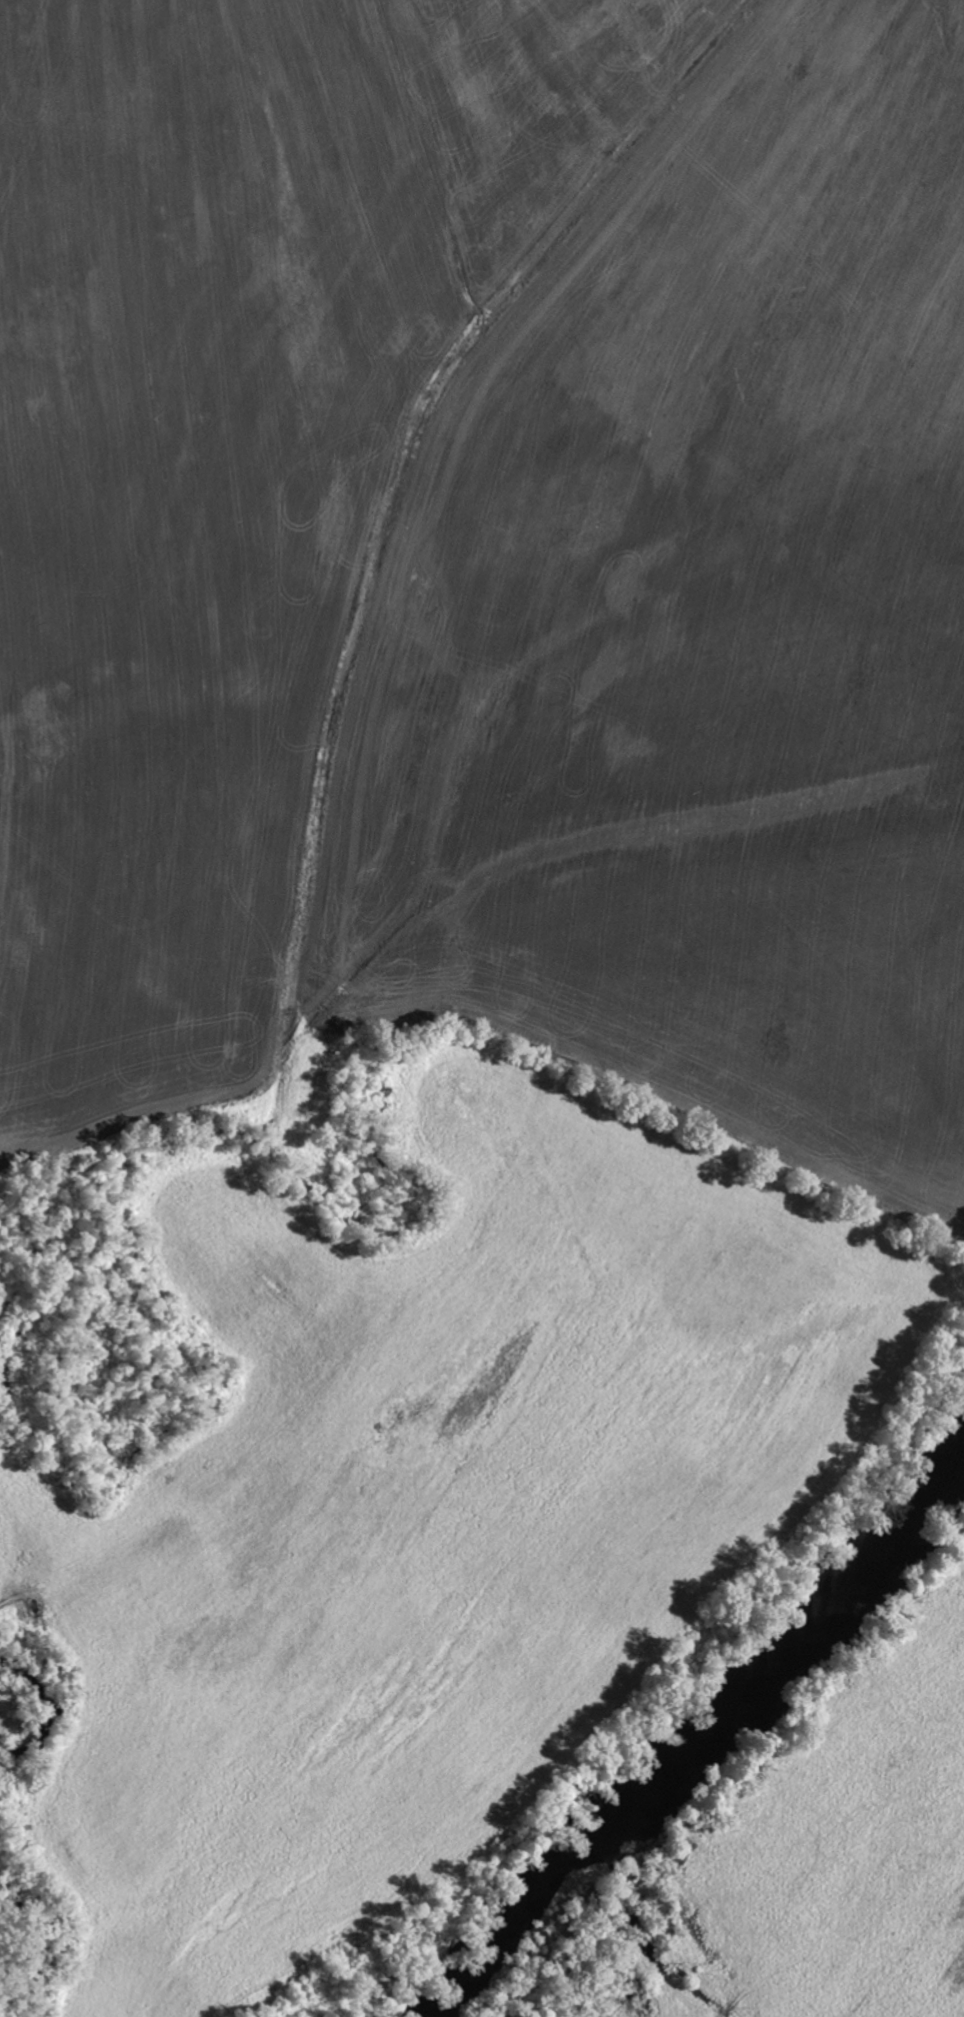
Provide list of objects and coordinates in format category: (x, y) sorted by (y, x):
river: (713, 1732)

